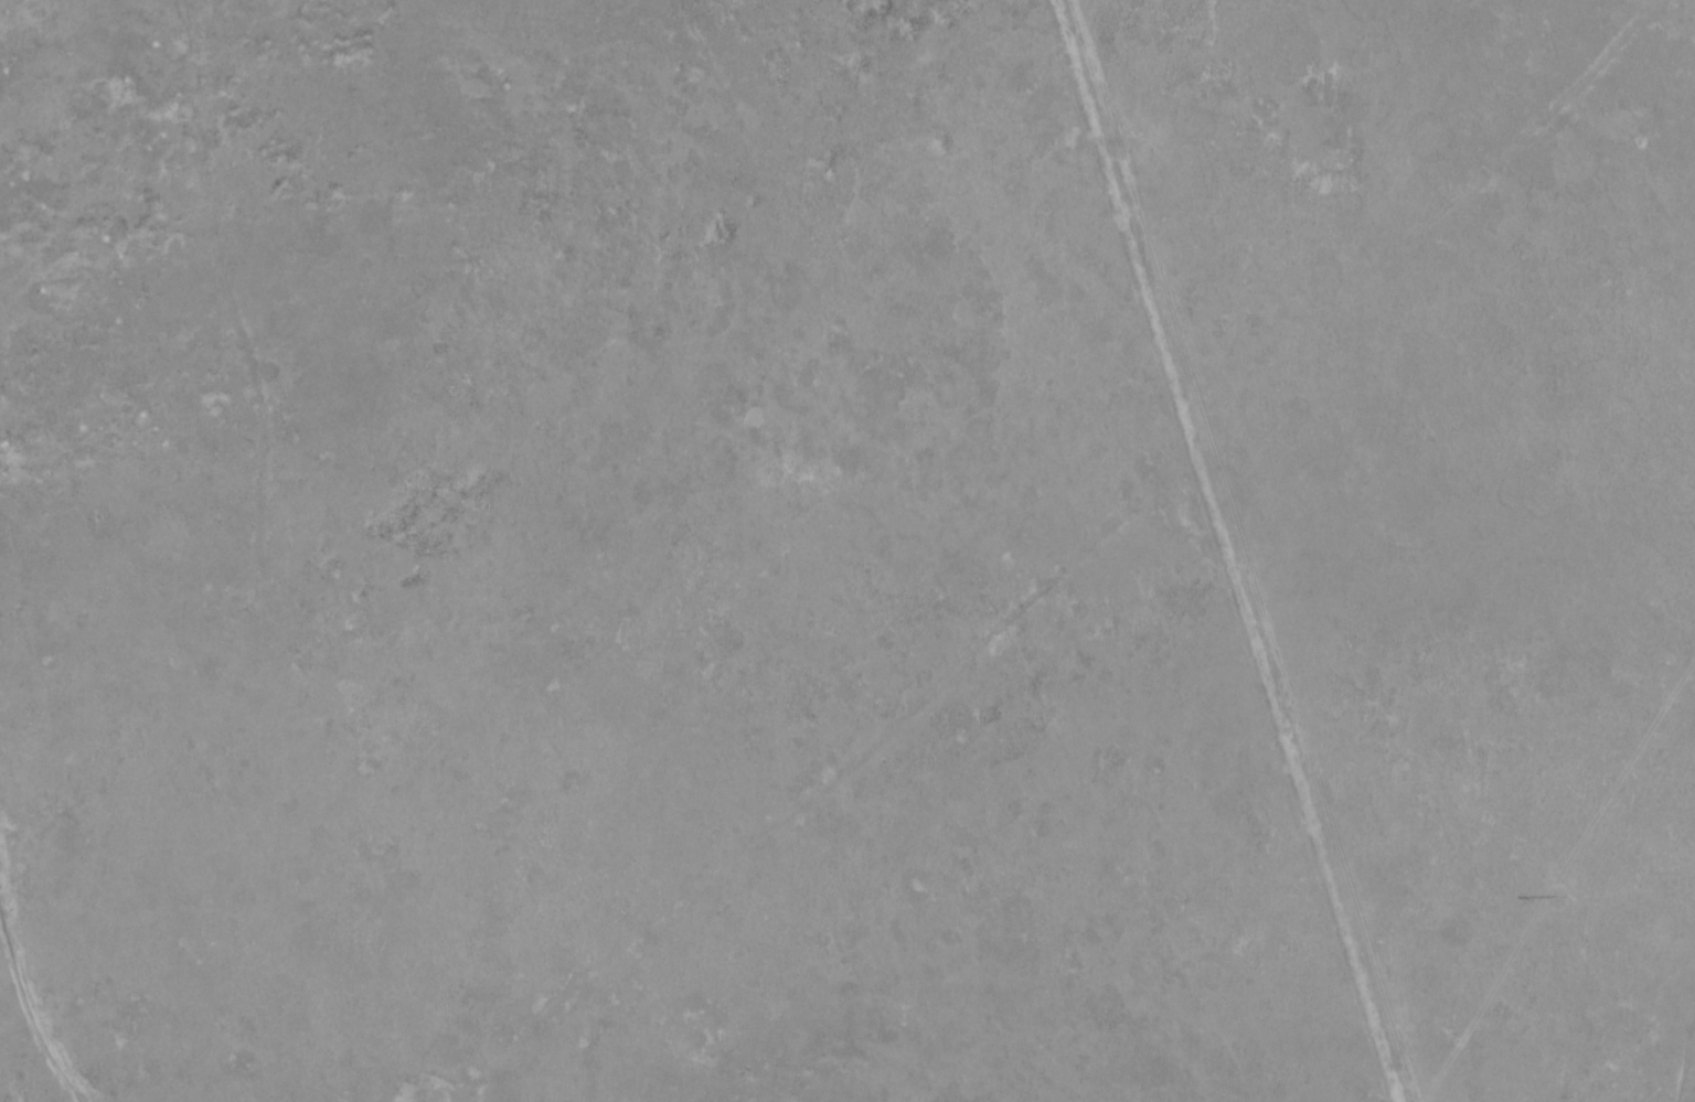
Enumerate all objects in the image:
road: (1216, 552)

